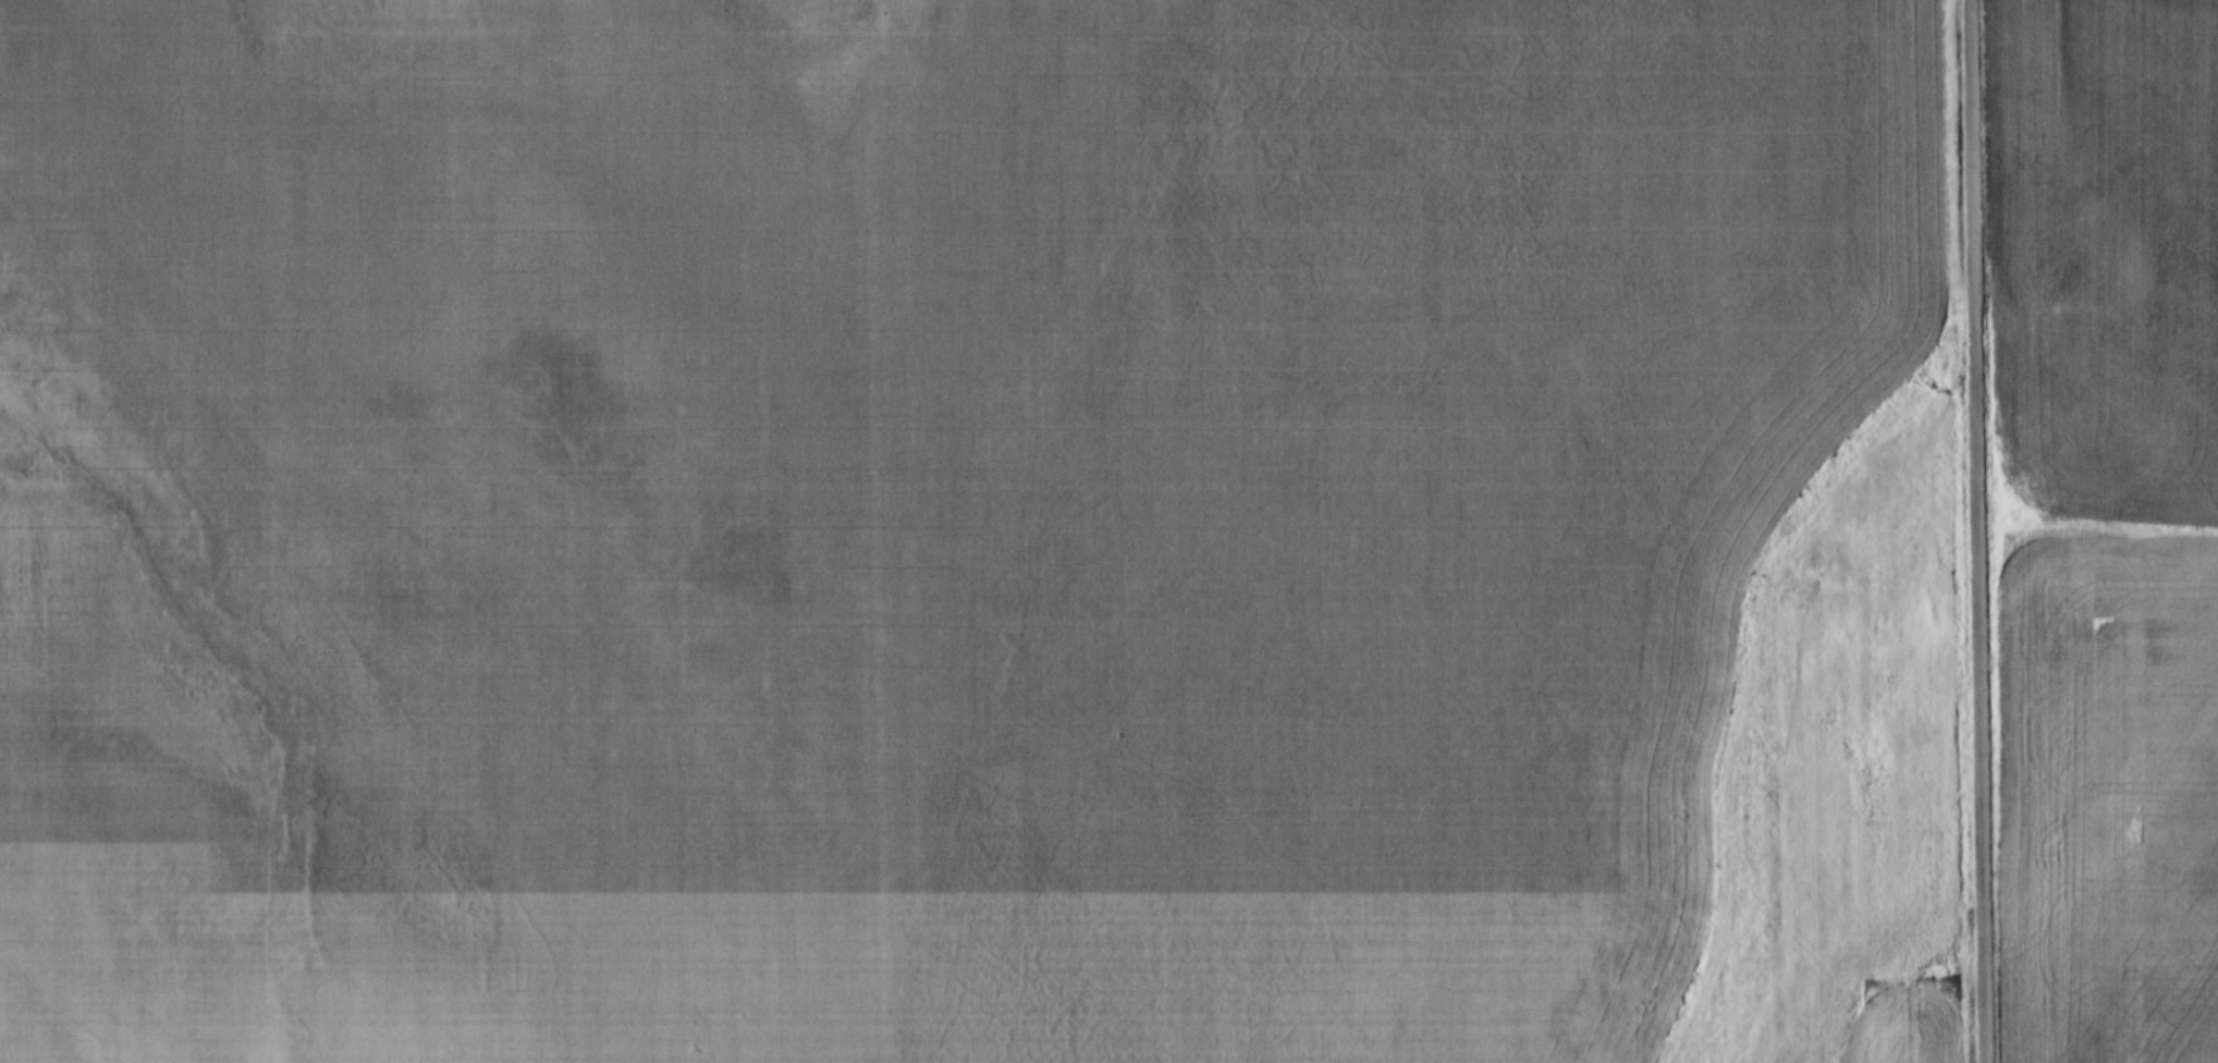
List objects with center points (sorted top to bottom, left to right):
road: (1975, 531)

